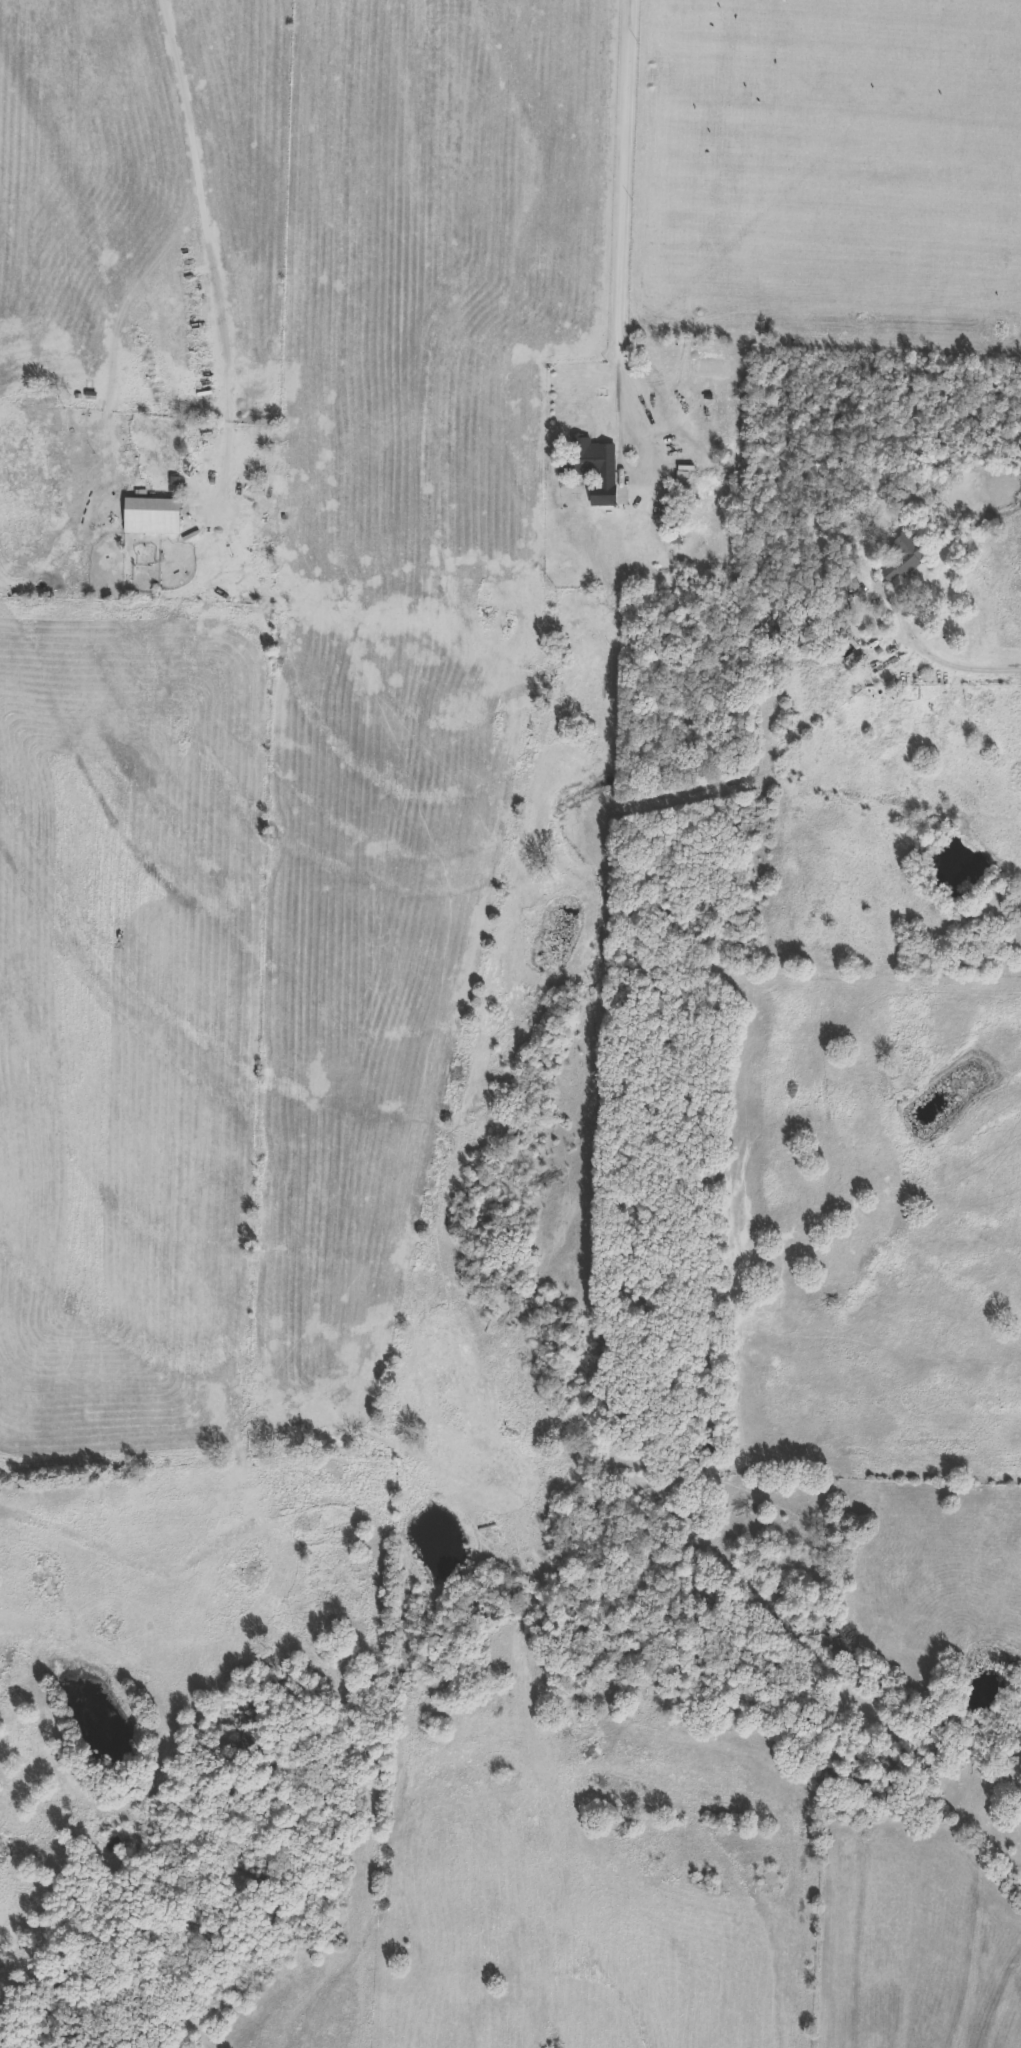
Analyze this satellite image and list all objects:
road: (628, 202)
road: (214, 255)
building: (584, 457)
building: (683, 483)
building: (152, 517)
building: (899, 562)
road: (957, 658)

